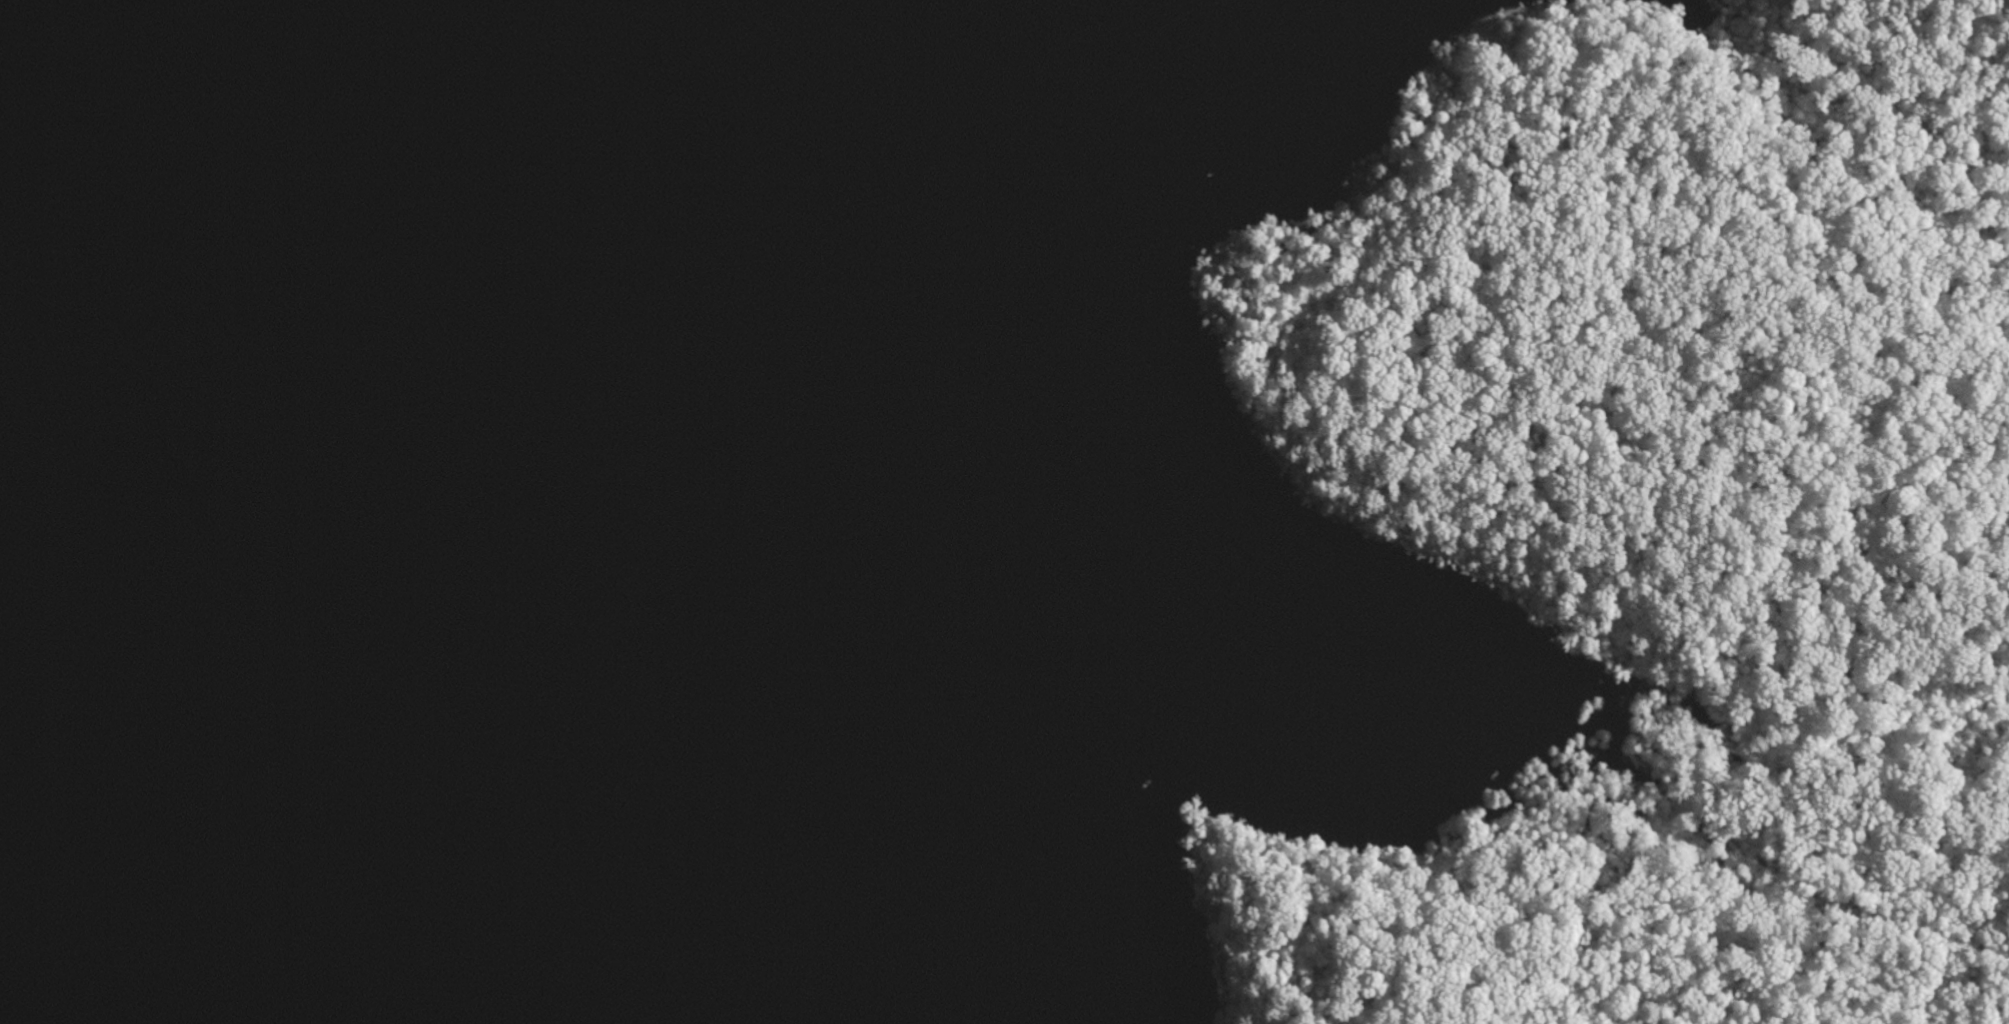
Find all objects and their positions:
river: (360, 512)

